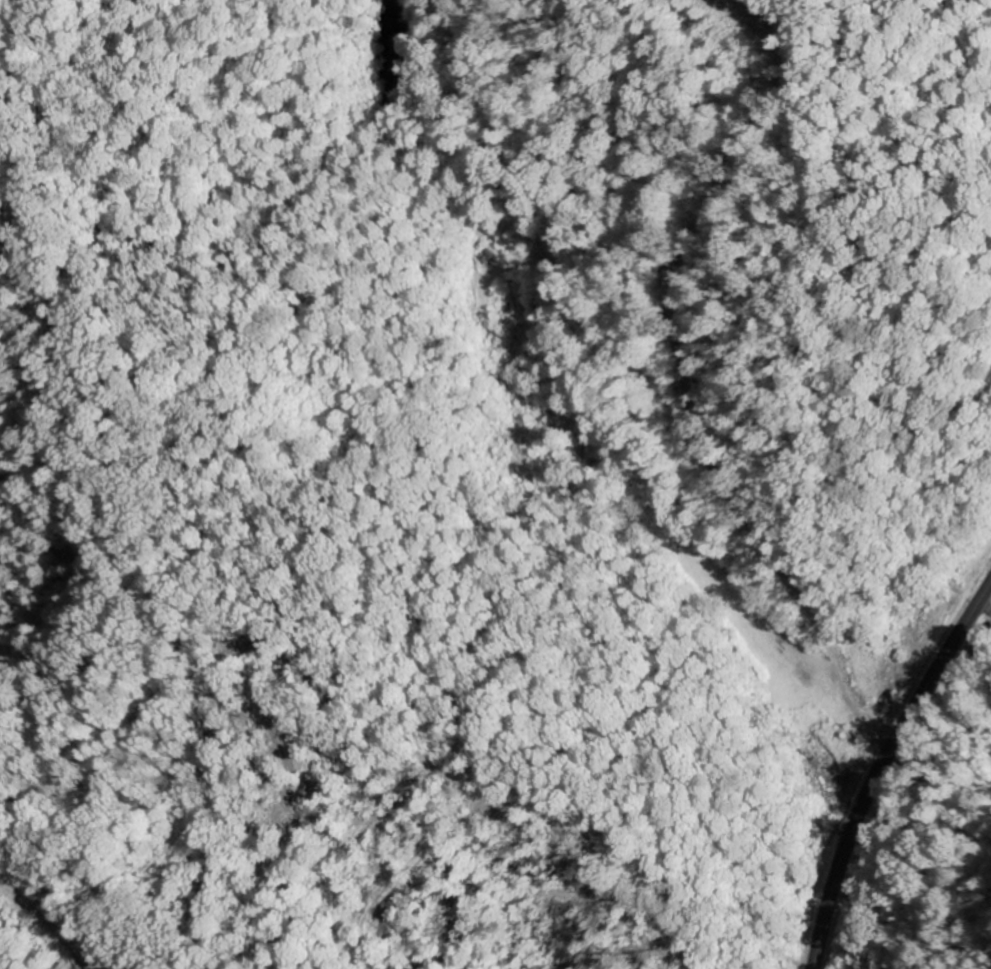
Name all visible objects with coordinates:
road: (897, 739)
road: (818, 937)

